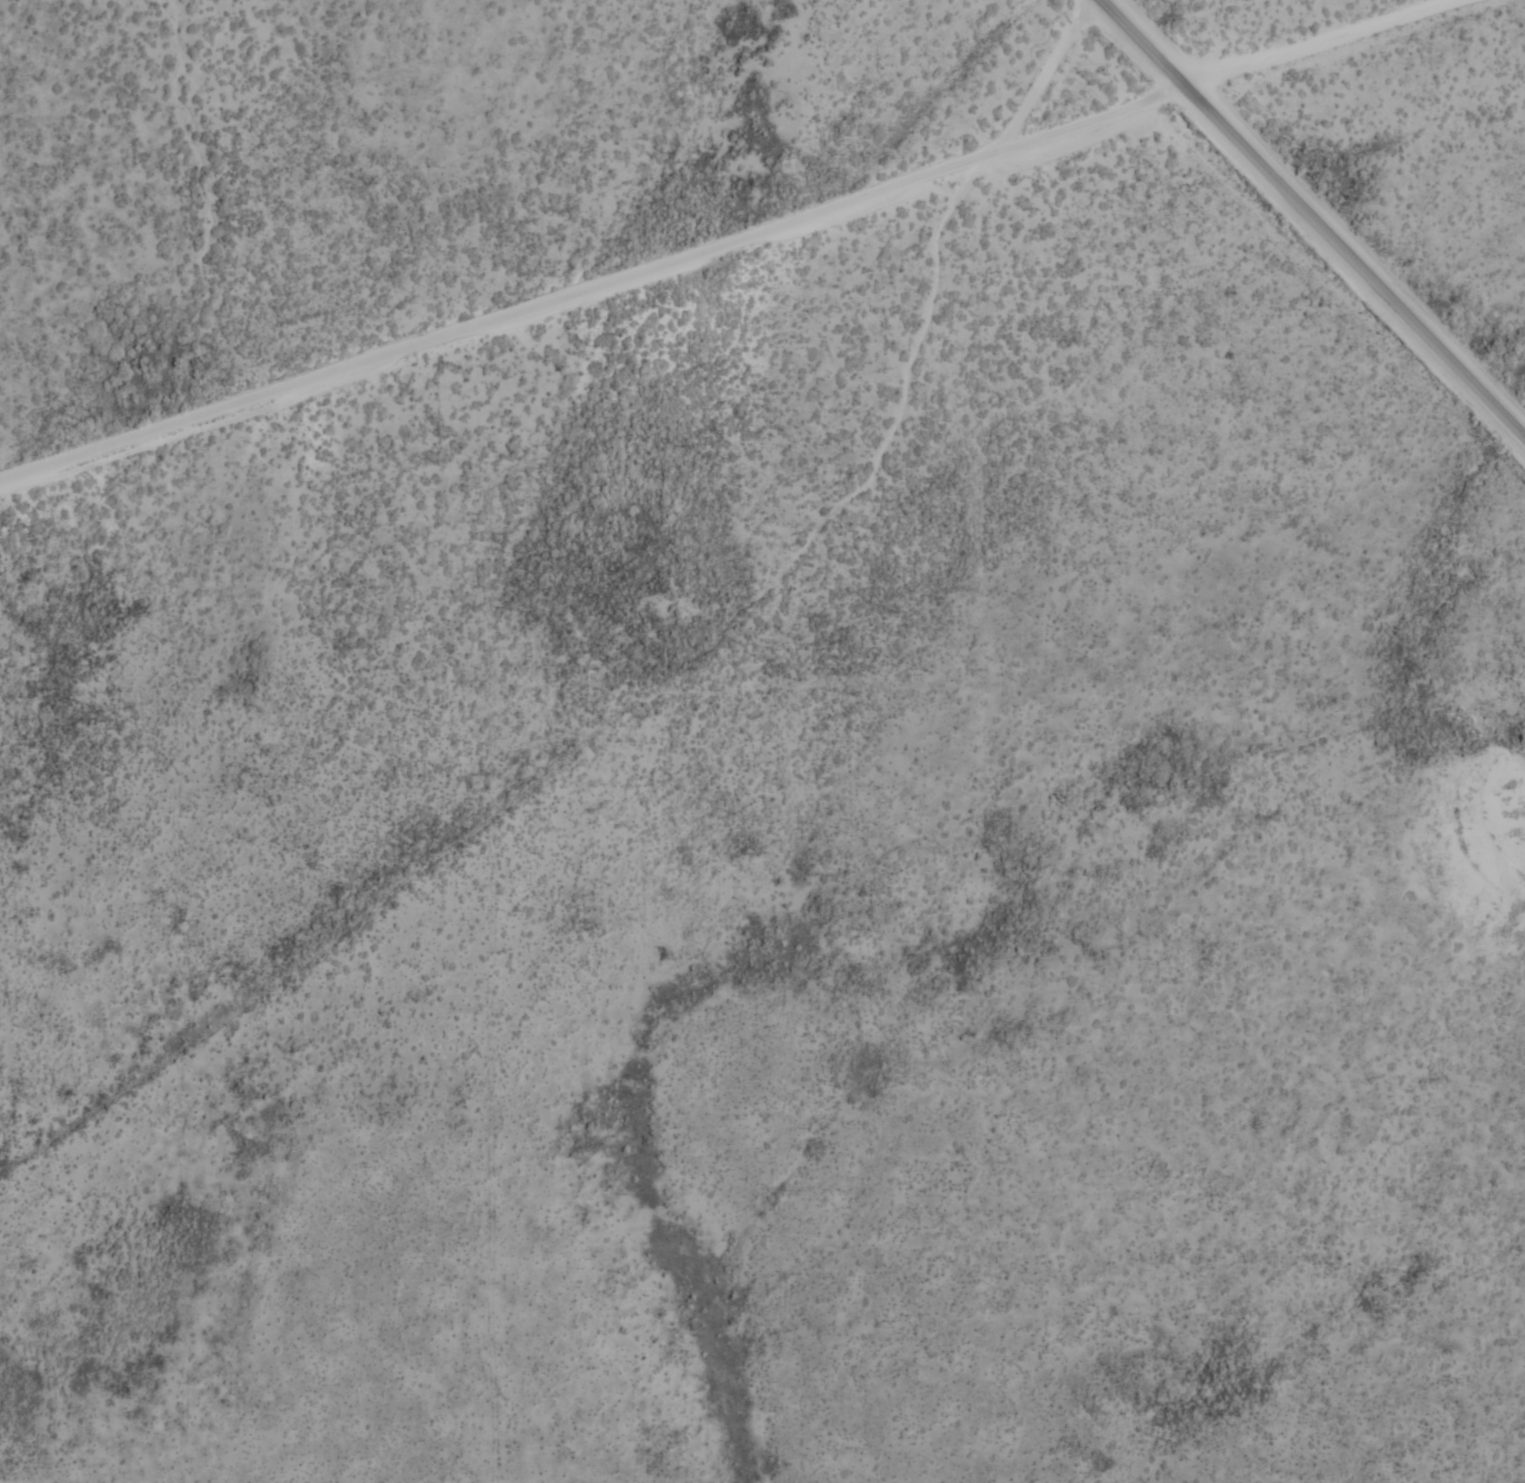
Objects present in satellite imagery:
road: (1317, 43)
road: (1043, 80)
road: (1312, 219)
road: (594, 288)

